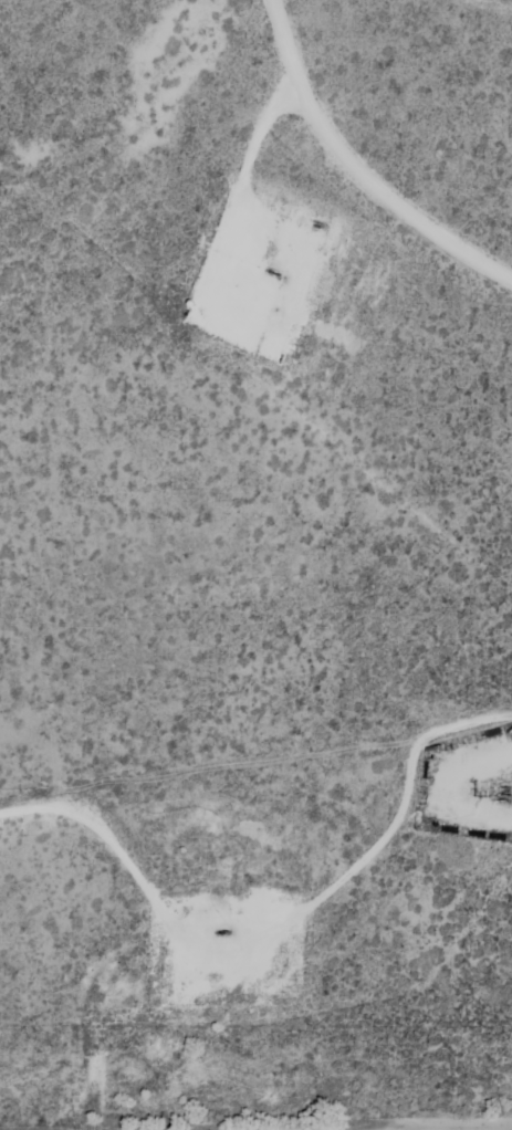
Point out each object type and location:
road: (364, 161)

